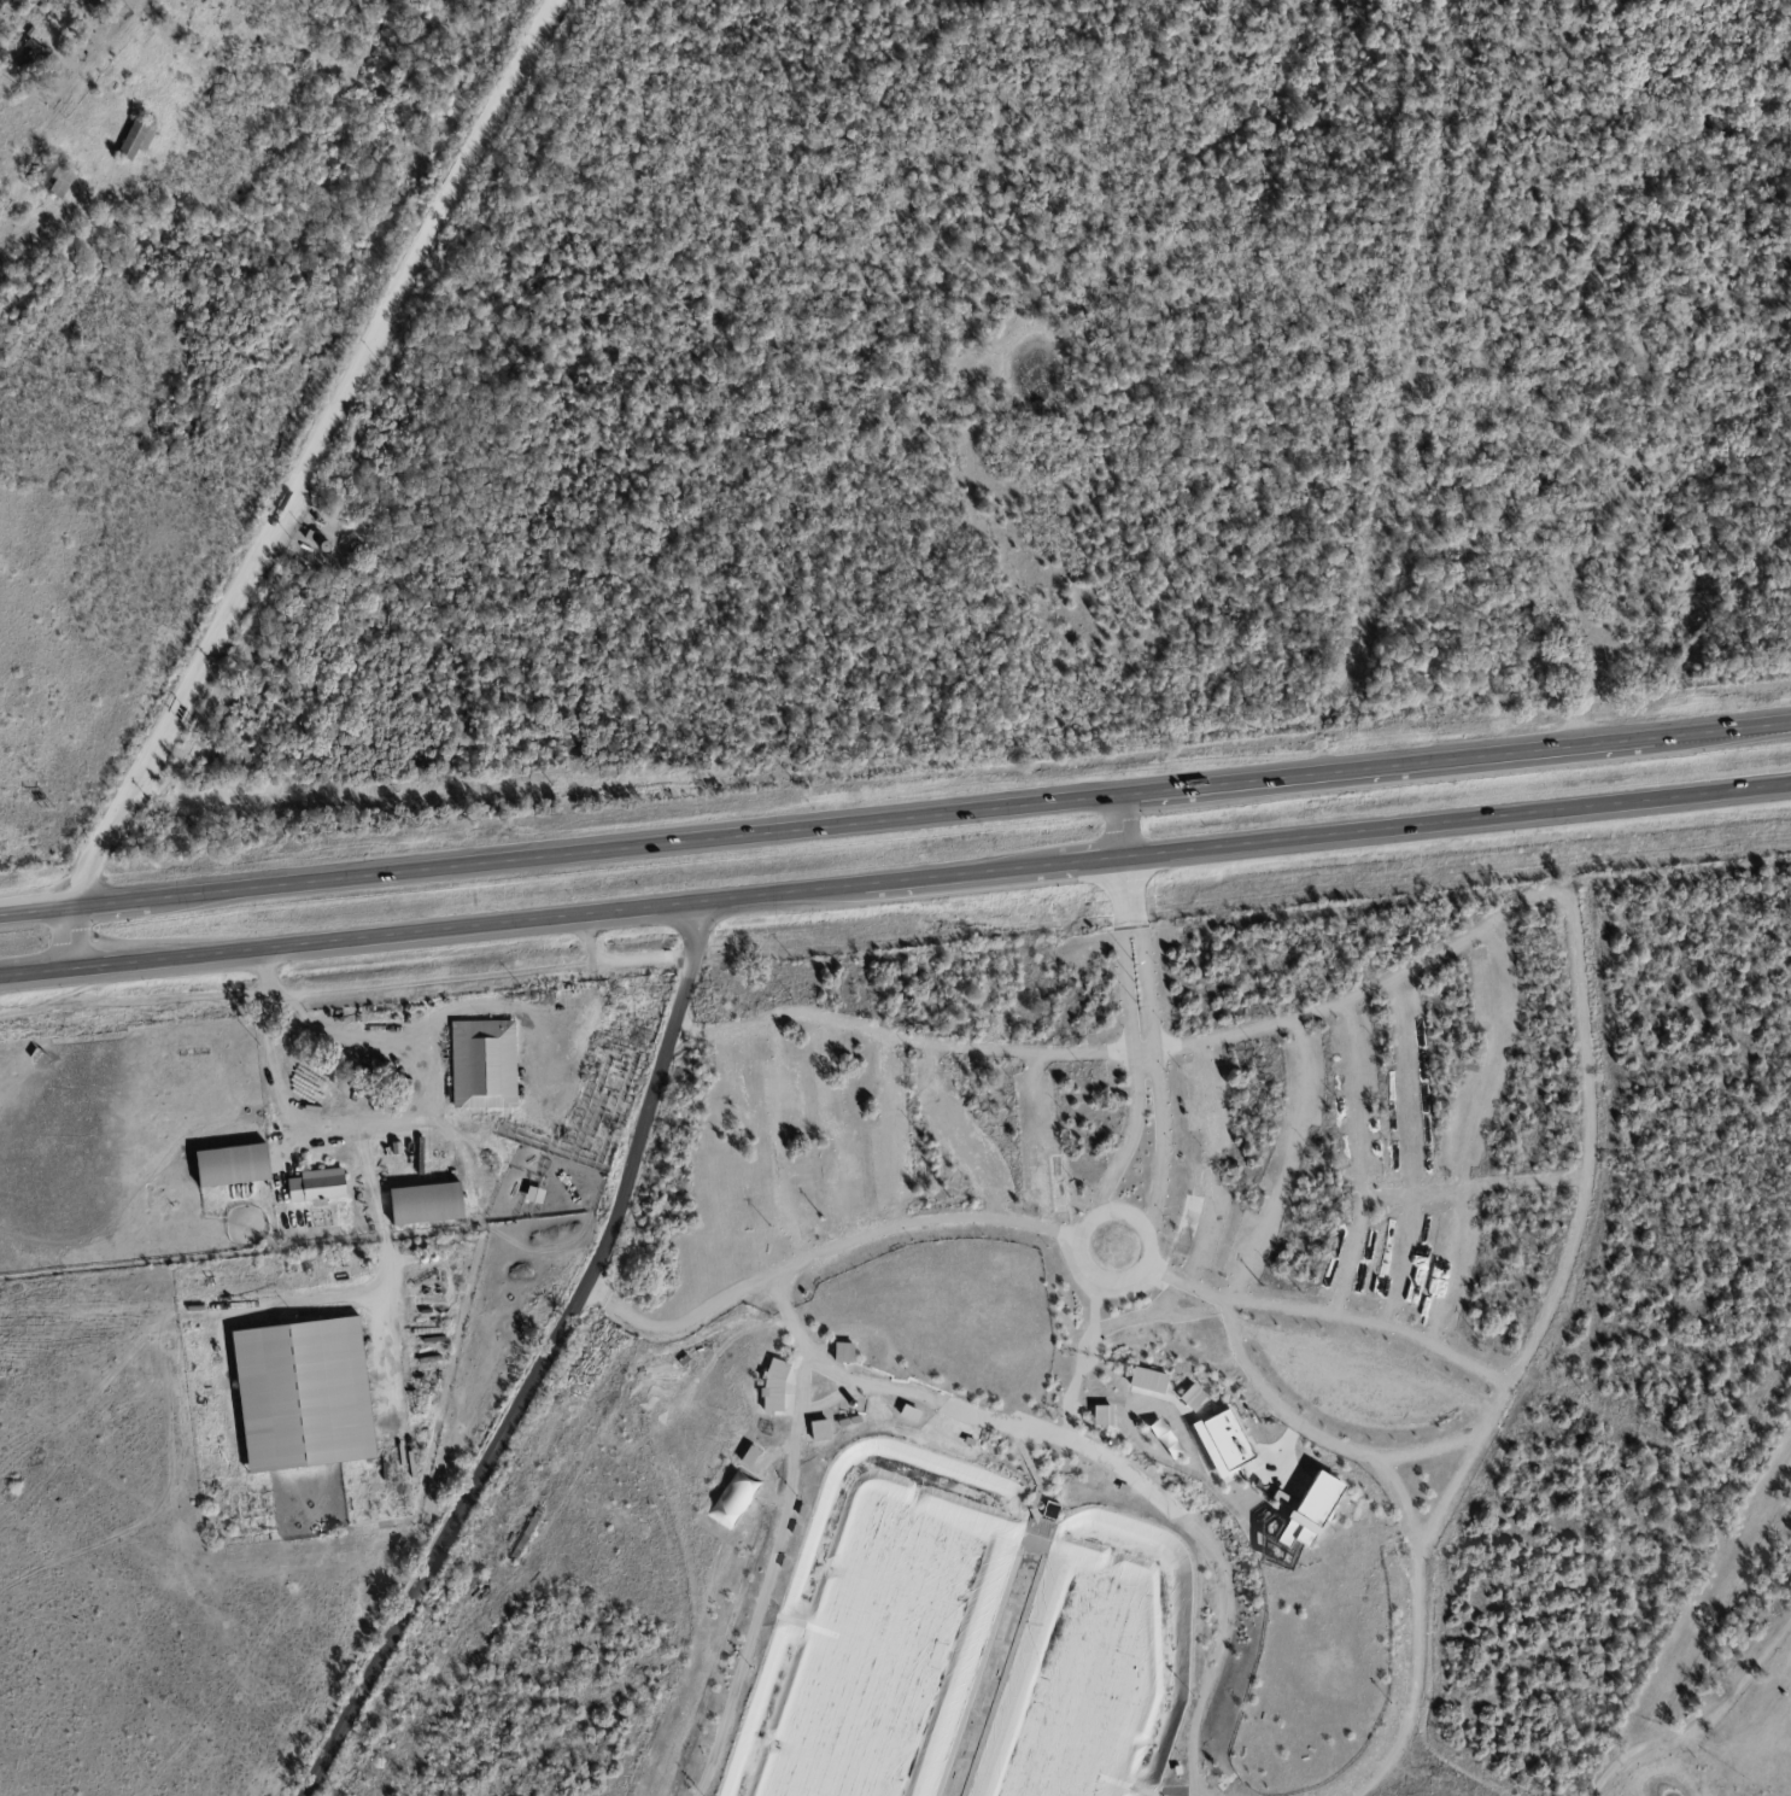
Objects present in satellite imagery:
building: (68, 5)
building: (98, 7)
building: (33, 34)
building: (31, 58)
building: (139, 141)
road: (21, 158)
building: (55, 182)
road: (292, 482)
building: (1552, 490)
building: (314, 538)
road: (895, 819)
road: (1123, 826)
road: (895, 882)
building: (486, 1066)
building: (195, 1067)
road: (374, 1121)
building: (398, 1151)
building: (387, 1152)
building: (234, 1169)
building: (320, 1189)
building: (537, 1198)
road: (382, 1203)
road: (1128, 1206)
building: (429, 1207)
road: (1046, 1209)
road: (1065, 1225)
road: (1135, 1276)
building: (843, 1352)
road: (534, 1361)
building: (1148, 1380)
building: (773, 1386)
building: (305, 1396)
building: (1192, 1398)
building: (1102, 1416)
building: (819, 1431)
building: (1165, 1439)
building: (1222, 1441)
building: (749, 1456)
building: (1264, 1741)

